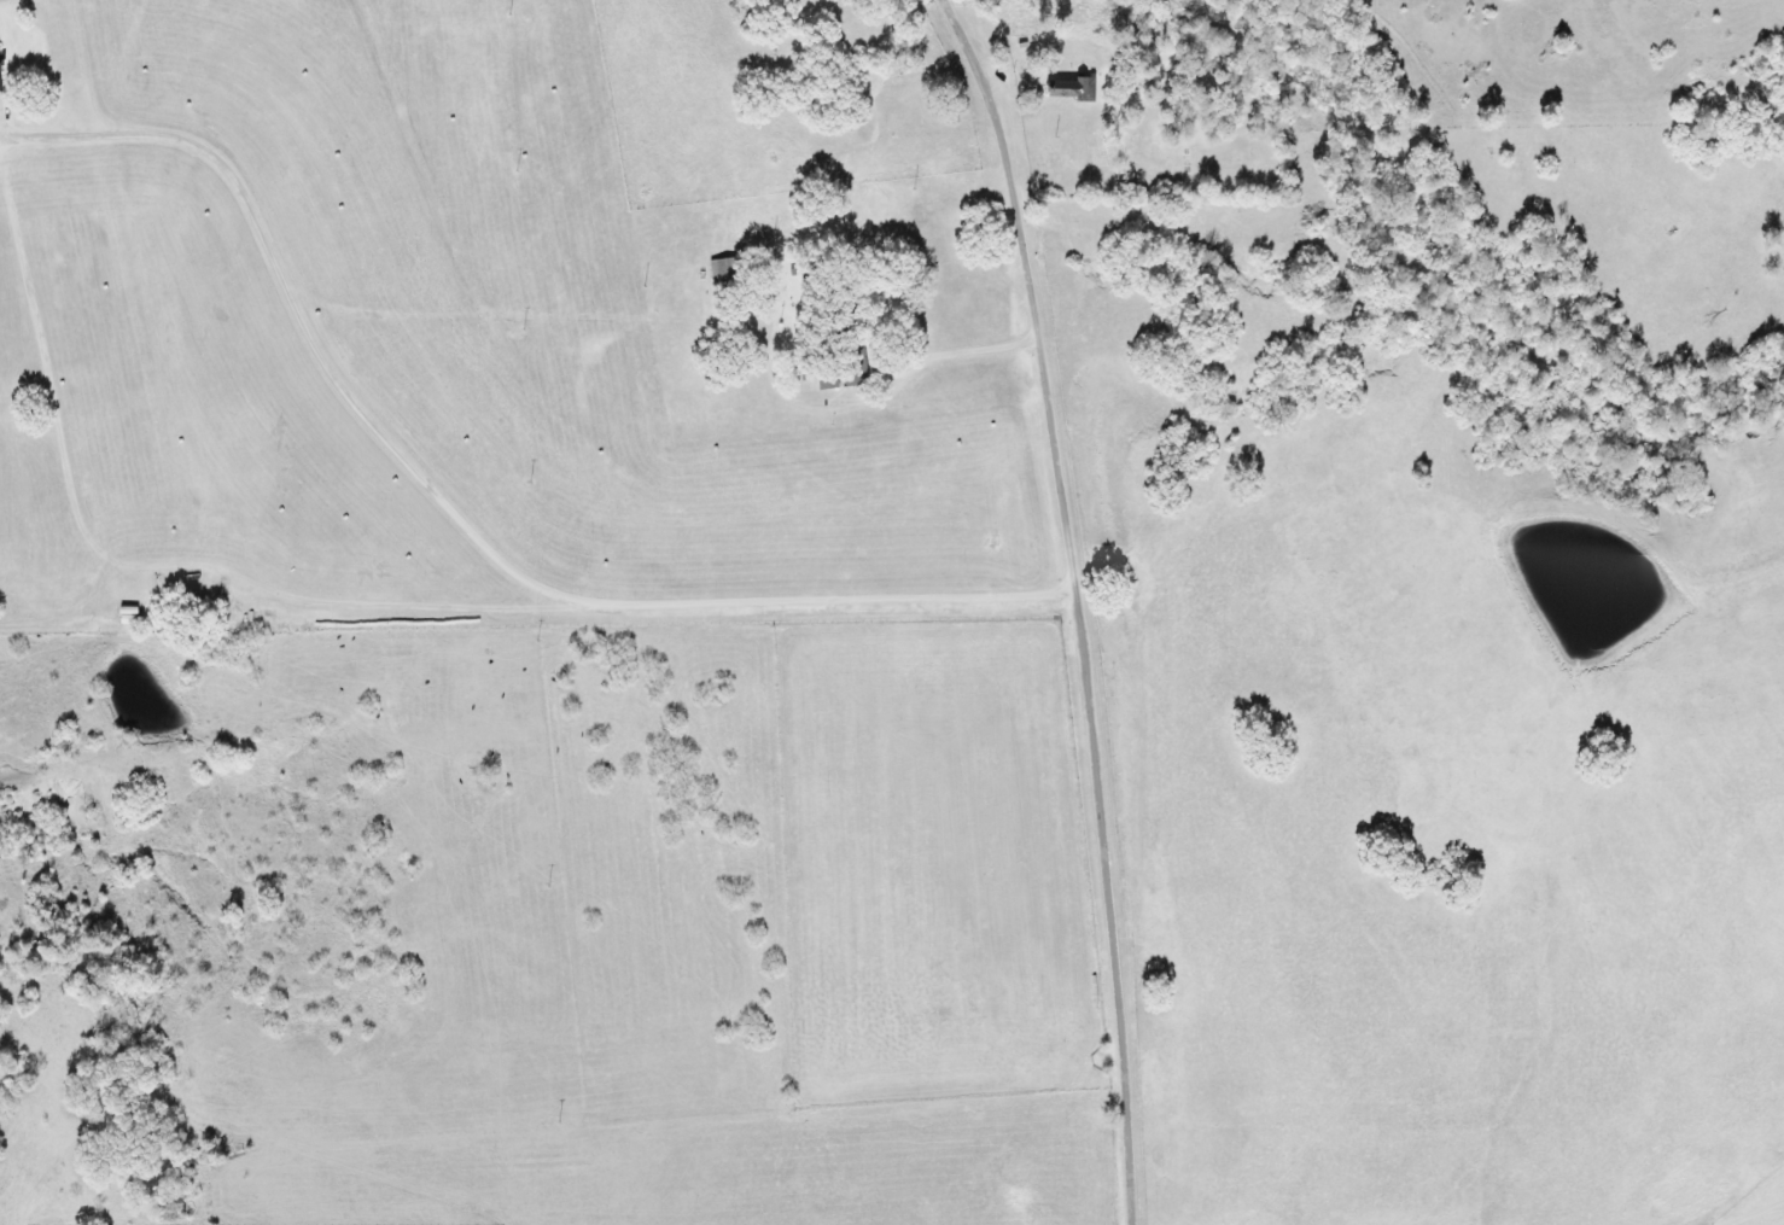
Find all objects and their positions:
building: (1061, 89)
building: (715, 270)
road: (961, 349)
building: (820, 385)
road: (1078, 605)
road: (606, 1112)
road: (1767, 1186)

